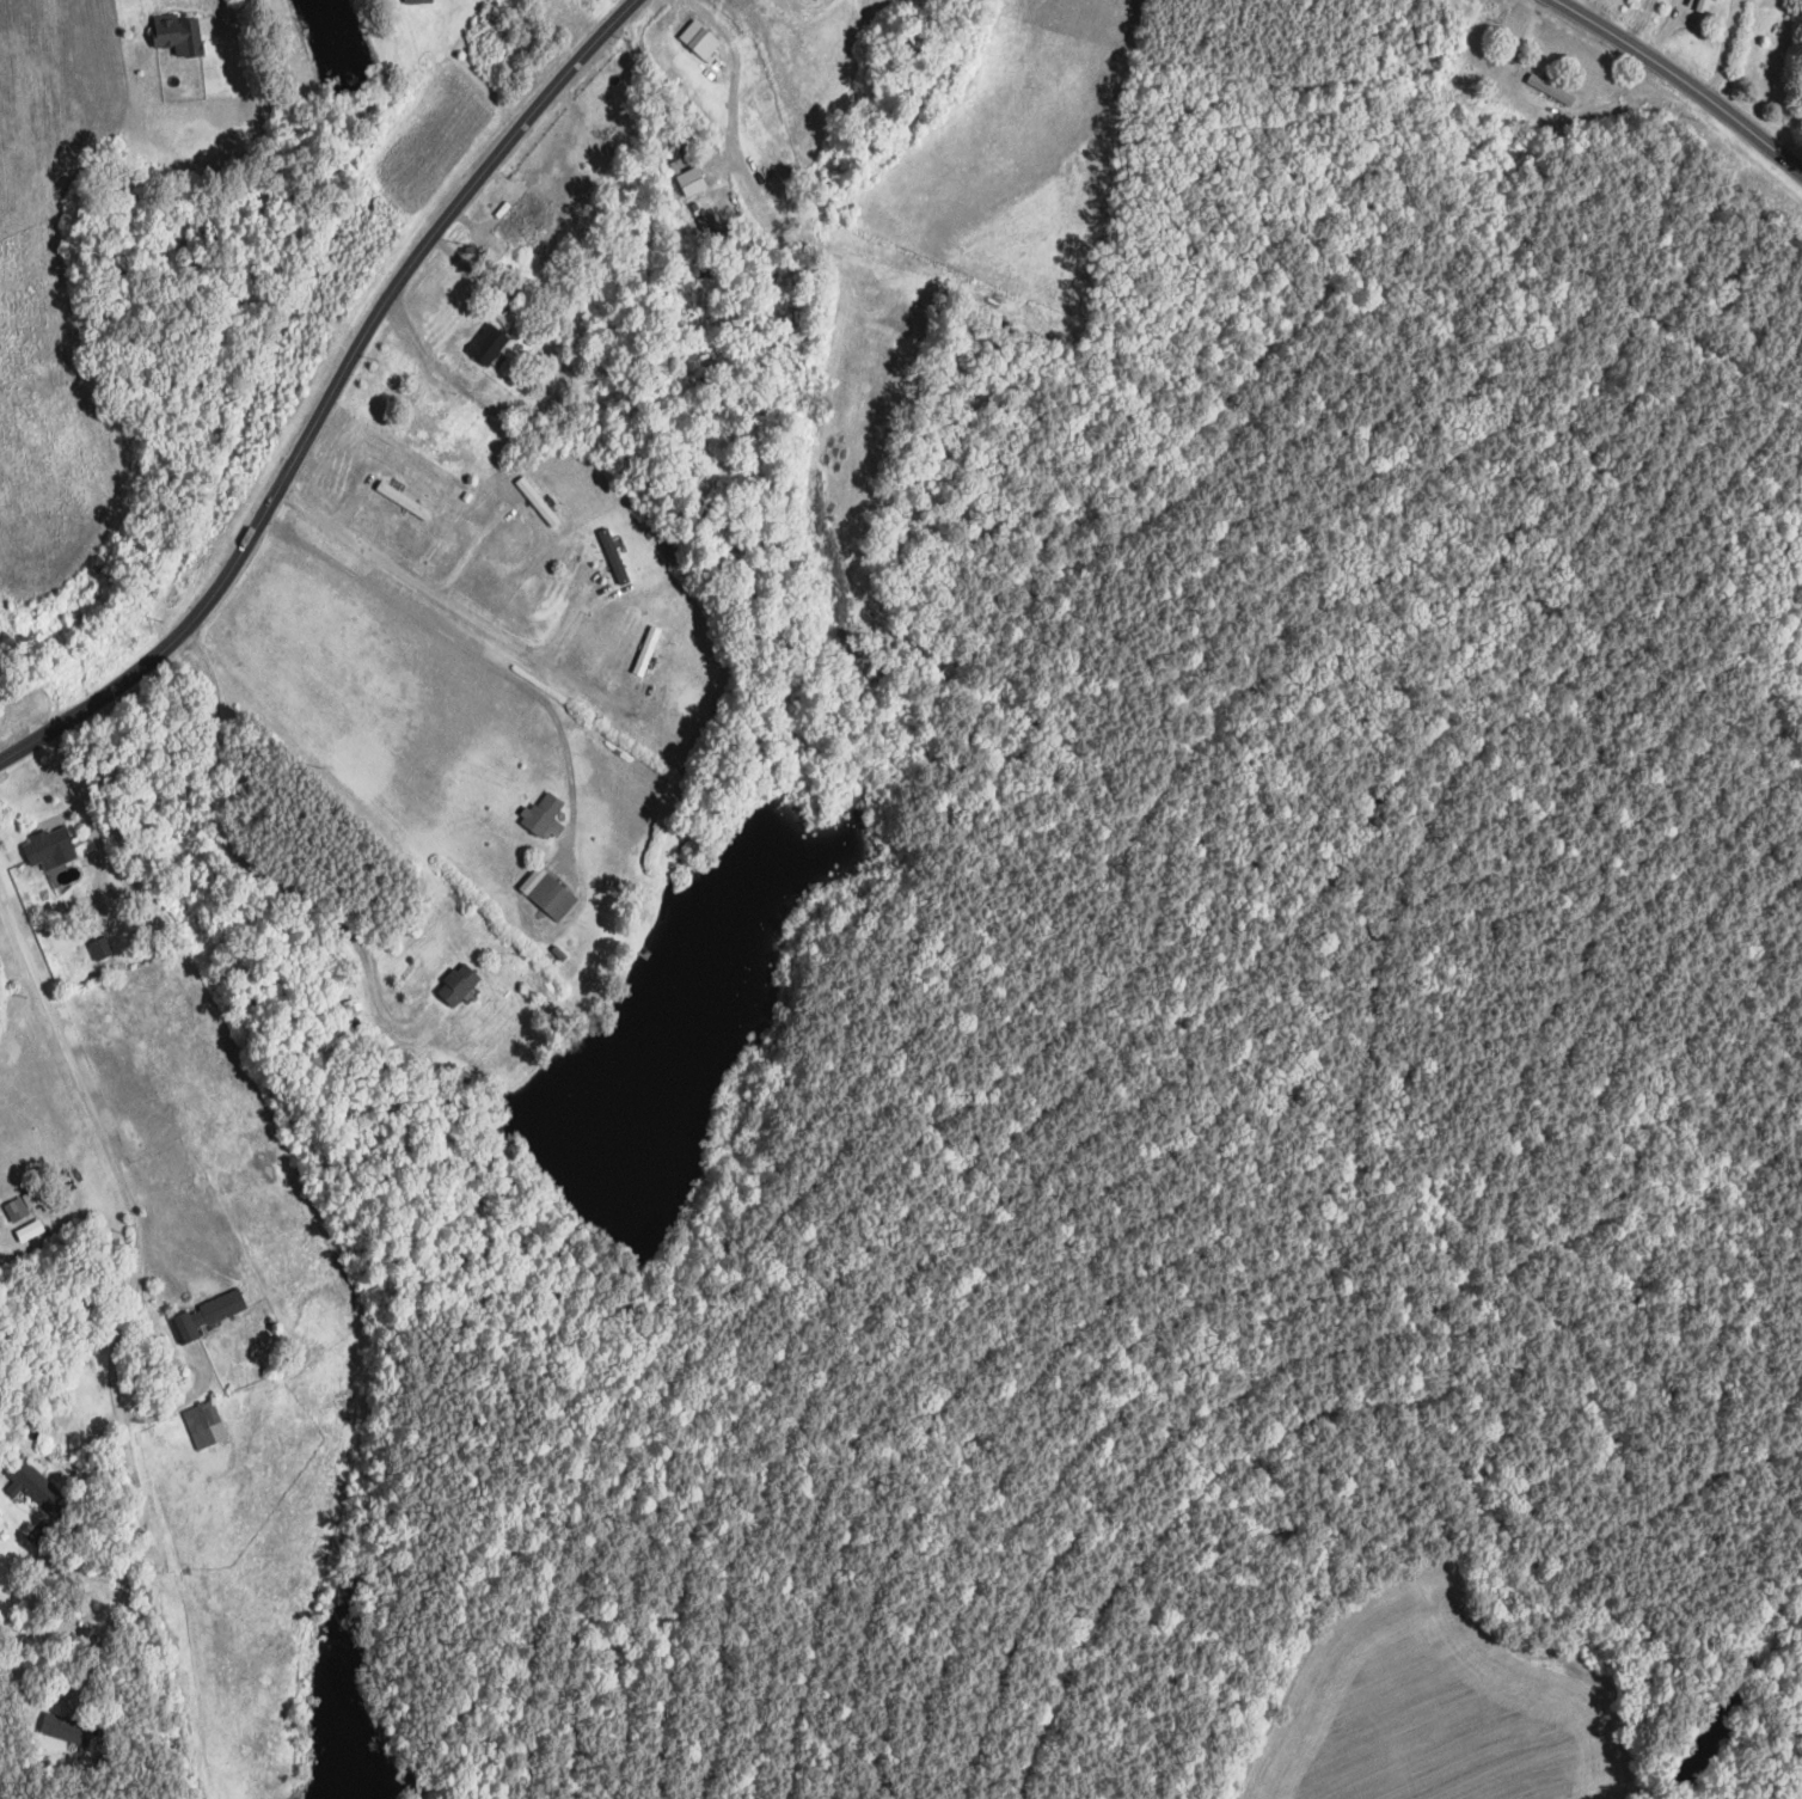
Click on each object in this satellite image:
building: (417, 1)
road: (216, 6)
building: (1703, 6)
road: (1681, 20)
road: (1638, 22)
road: (1666, 29)
building: (177, 35)
building: (694, 37)
road: (1724, 50)
road: (734, 81)
road: (1681, 81)
building: (1550, 90)
building: (692, 180)
building: (521, 215)
building: (488, 343)
road: (330, 396)
building: (403, 500)
building: (537, 501)
road: (467, 544)
building: (612, 555)
road: (434, 589)
building: (645, 650)
road: (471, 653)
road: (583, 689)
building: (540, 813)
building: (49, 845)
building: (547, 893)
building: (100, 948)
building: (458, 984)
building: (22, 1204)
road: (130, 1204)
building: (29, 1229)
building: (204, 1315)
road: (190, 1360)
building: (204, 1424)
building: (35, 1485)
road: (115, 1596)
building: (65, 1728)

